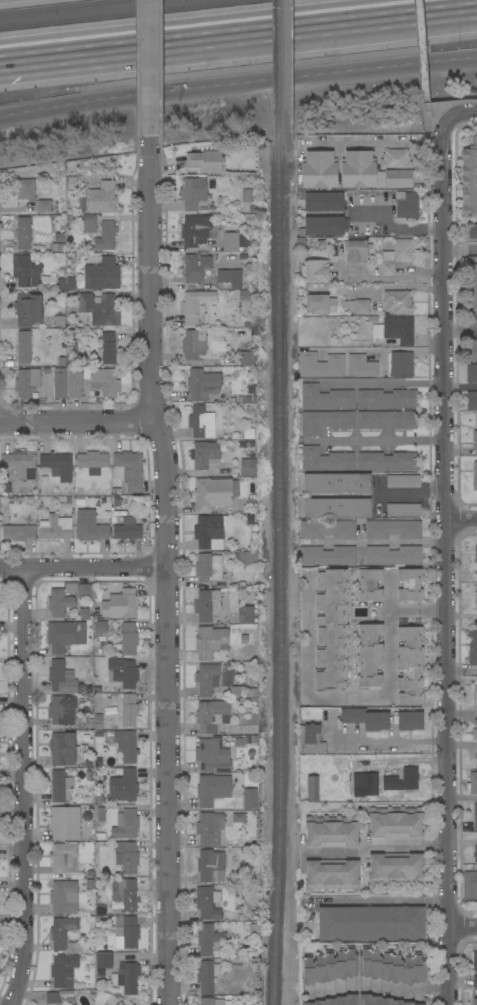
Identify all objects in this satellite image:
railway: (62, 6)
railway: (121, 13)
road: (320, 19)
road: (419, 47)
road: (82, 48)
road: (147, 70)
railway: (278, 73)
road: (237, 79)
building: (232, 88)
road: (430, 111)
road: (459, 113)
road: (372, 142)
building: (205, 161)
building: (396, 167)
building: (319, 169)
building: (357, 169)
building: (469, 179)
building: (71, 184)
building: (25, 189)
building: (192, 192)
building: (246, 195)
building: (102, 198)
building: (321, 200)
building: (406, 204)
building: (43, 206)
building: (88, 224)
road: (391, 226)
building: (320, 227)
building: (196, 230)
building: (23, 232)
building: (470, 233)
building: (105, 236)
building: (58, 238)
building: (233, 242)
building: (57, 247)
building: (356, 251)
road: (462, 251)
building: (395, 255)
building: (472, 261)
building: (195, 267)
building: (25, 271)
building: (314, 271)
building: (101, 274)
building: (230, 278)
road: (391, 278)
building: (70, 283)
building: (472, 290)
building: (243, 295)
building: (397, 302)
building: (319, 304)
building: (361, 306)
building: (196, 307)
building: (27, 309)
building: (100, 309)
building: (59, 320)
building: (395, 329)
road: (462, 329)
building: (195, 344)
building: (23, 347)
building: (108, 348)
road: (384, 350)
building: (472, 350)
building: (246, 353)
building: (401, 364)
building: (320, 365)
building: (360, 366)
building: (471, 373)
building: (26, 382)
building: (104, 382)
road: (391, 382)
building: (74, 383)
building: (59, 384)
building: (202, 384)
building: (325, 397)
building: (386, 398)
building: (471, 400)
building: (387, 420)
road: (75, 421)
building: (324, 421)
building: (201, 422)
building: (248, 434)
road: (377, 439)
building: (474, 439)
building: (243, 444)
building: (200, 456)
building: (325, 459)
building: (387, 461)
building: (92, 462)
building: (18, 463)
building: (57, 465)
building: (247, 467)
building: (127, 470)
building: (475, 475)
building: (402, 481)
building: (336, 483)
building: (115, 491)
building: (212, 493)
road: (411, 493)
building: (105, 502)
building: (116, 502)
railway: (272, 502)
building: (336, 508)
building: (240, 510)
building: (403, 510)
building: (118, 513)
road: (462, 520)
building: (89, 526)
building: (55, 528)
building: (127, 529)
building: (327, 529)
building: (392, 529)
building: (207, 530)
building: (18, 532)
road: (382, 540)
building: (475, 554)
building: (326, 555)
building: (392, 555)
building: (247, 557)
road: (448, 562)
building: (208, 567)
road: (80, 568)
road: (161, 572)
railway: (281, 575)
building: (248, 583)
building: (409, 584)
building: (369, 585)
building: (69, 589)
building: (83, 591)
building: (476, 595)
building: (58, 602)
building: (120, 605)
building: (206, 605)
building: (83, 613)
building: (244, 615)
building: (235, 617)
building: (100, 627)
building: (330, 630)
building: (64, 635)
building: (128, 638)
building: (209, 641)
building: (472, 648)
building: (369, 655)
road: (393, 658)
building: (409, 665)
road: (463, 669)
building: (122, 672)
building: (61, 678)
building: (206, 679)
road: (308, 683)
building: (476, 690)
building: (108, 699)
building: (128, 709)
building: (61, 710)
road: (463, 713)
building: (212, 716)
building: (366, 718)
building: (409, 720)
building: (474, 732)
building: (311, 739)
road: (463, 744)
building: (126, 745)
road: (392, 745)
building: (63, 748)
building: (210, 758)
building: (476, 759)
building: (89, 774)
building: (409, 778)
building: (473, 783)
building: (60, 786)
building: (123, 786)
building: (366, 786)
road: (20, 788)
building: (212, 789)
building: (312, 789)
building: (249, 798)
road: (463, 800)
building: (101, 814)
building: (475, 816)
building: (238, 817)
building: (395, 822)
building: (64, 823)
building: (125, 824)
building: (209, 828)
building: (331, 831)
road: (379, 846)
building: (475, 854)
building: (126, 856)
building: (63, 858)
building: (211, 866)
building: (395, 868)
building: (331, 875)
building: (90, 883)
building: (470, 887)
building: (125, 893)
building: (64, 897)
building: (207, 903)
road: (378, 903)
building: (370, 923)
road: (464, 926)
building: (62, 931)
building: (125, 932)
building: (256, 938)
building: (210, 941)
building: (104, 960)
building: (474, 960)
building: (329, 966)
building: (391, 966)
building: (63, 970)
building: (207, 976)
building: (128, 977)
building: (475, 981)
road: (379, 988)
building: (34, 997)
building: (52, 998)
building: (336, 1000)
building: (381, 1000)
building: (206, 1001)
building: (475, 1002)
building: (65, 1003)
building: (119, 1003)
building: (132, 1004)

